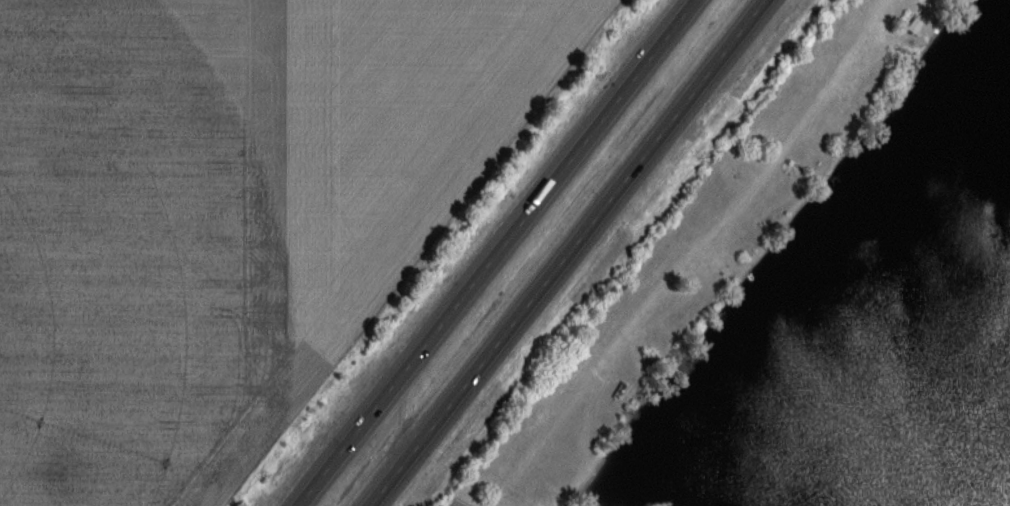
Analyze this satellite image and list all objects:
road: (494, 253)
road: (564, 253)

